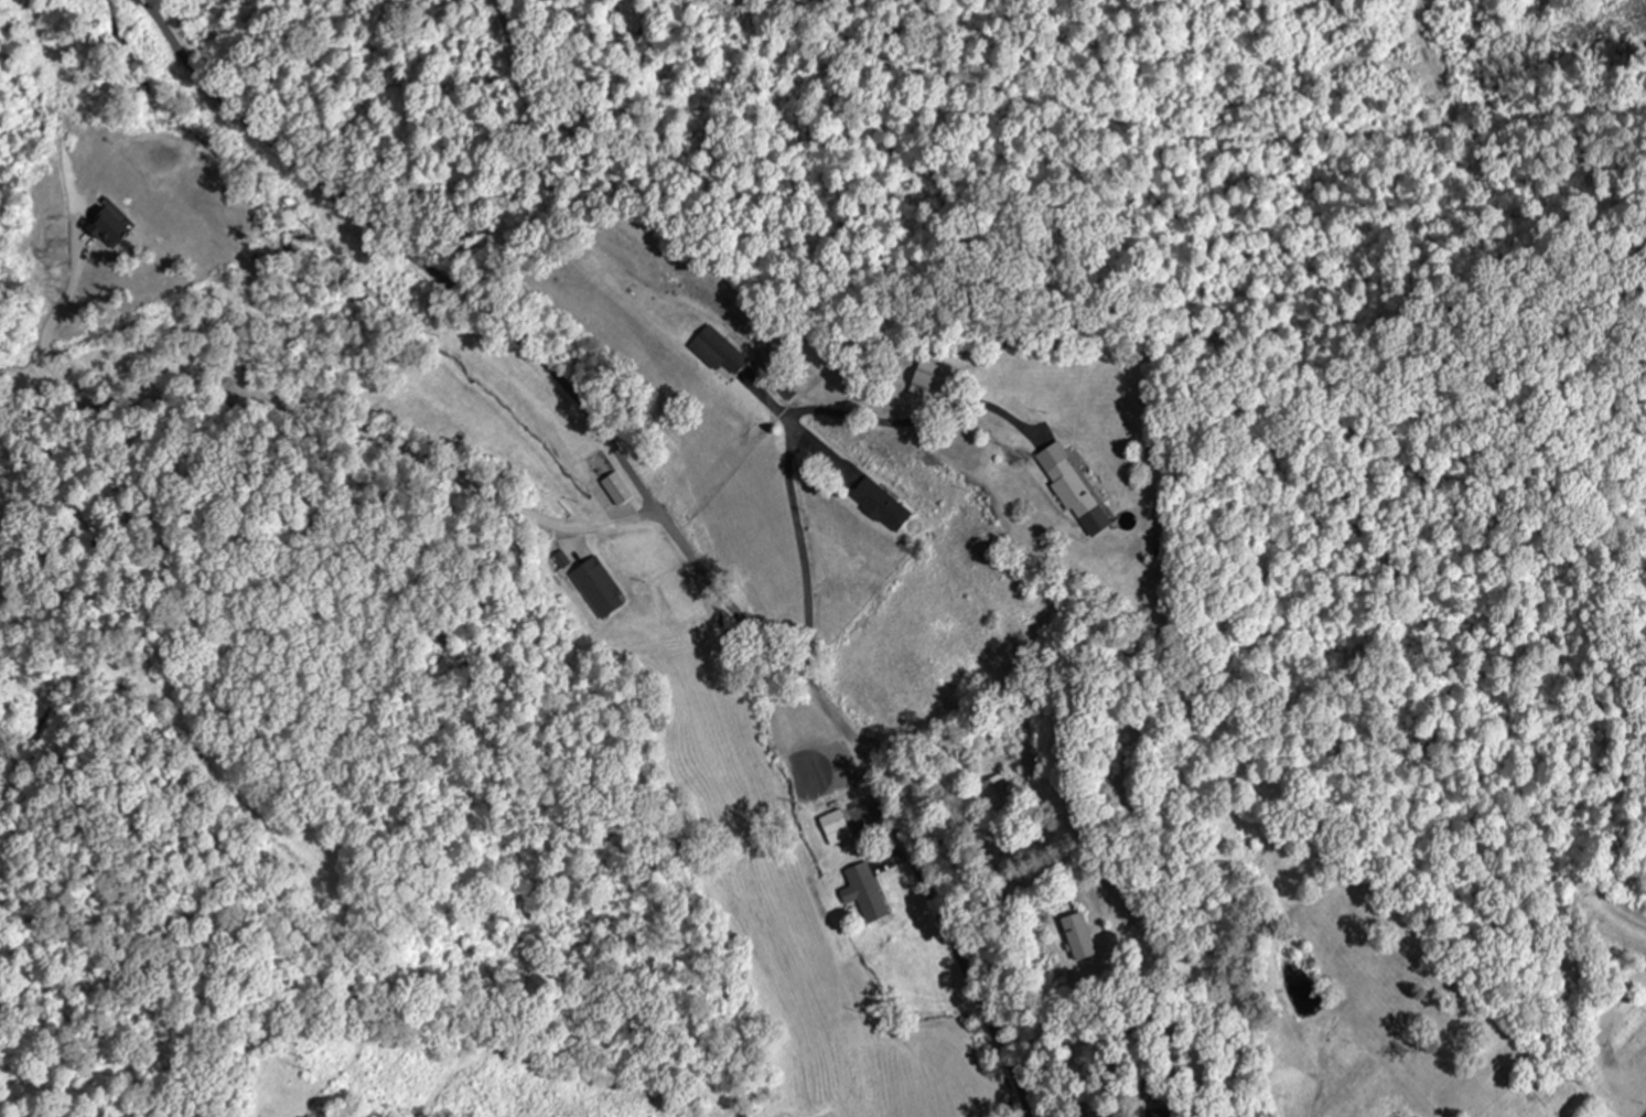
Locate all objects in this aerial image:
road: (445, 170)
road: (150, 301)
building: (717, 350)
building: (926, 387)
road: (643, 491)
building: (1076, 497)
building: (879, 504)
building: (599, 589)
building: (996, 793)
building: (833, 827)
building: (865, 892)
building: (1076, 936)
road: (1020, 1099)
building: (1394, 1115)

